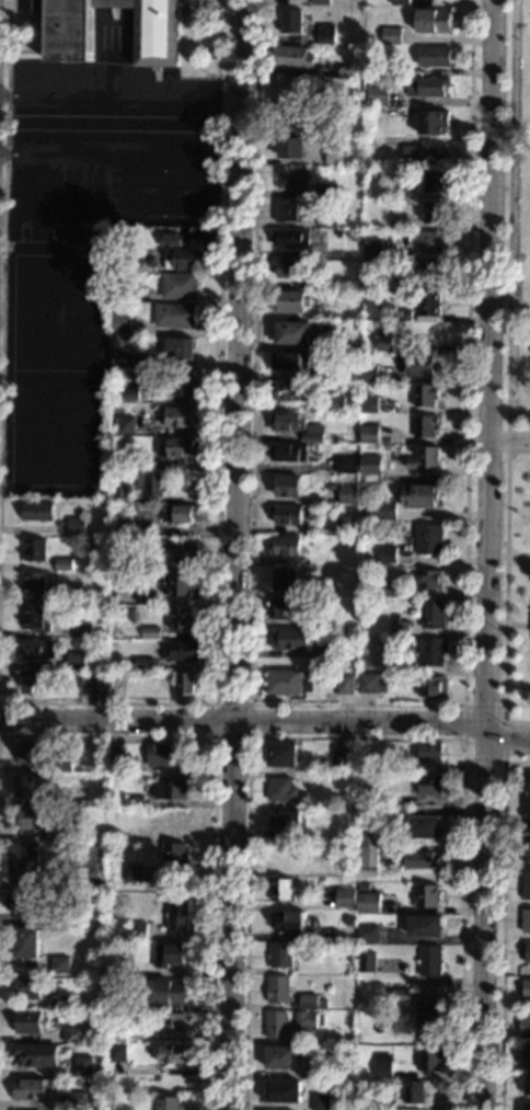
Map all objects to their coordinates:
building: (320, 2)
building: (401, 2)
building: (290, 21)
building: (433, 21)
building: (325, 34)
building: (157, 36)
building: (391, 36)
building: (435, 56)
building: (293, 57)
building: (388, 69)
building: (426, 85)
building: (378, 95)
building: (292, 118)
building: (433, 123)
building: (323, 127)
building: (20, 141)
building: (291, 148)
building: (411, 152)
building: (336, 157)
building: (293, 179)
building: (436, 181)
building: (327, 188)
building: (395, 190)
park: (518, 199)
building: (287, 210)
building: (435, 211)
building: (327, 221)
building: (392, 225)
road: (2, 229)
park: (50, 231)
building: (325, 231)
building: (120, 236)
building: (291, 237)
building: (170, 240)
building: (434, 241)
building: (372, 249)
building: (180, 259)
building: (151, 263)
building: (288, 267)
building: (407, 267)
building: (431, 273)
building: (319, 284)
building: (178, 285)
building: (127, 295)
building: (289, 301)
building: (429, 302)
building: (337, 311)
building: (174, 314)
building: (404, 316)
building: (122, 322)
building: (292, 332)
building: (384, 340)
building: (336, 342)
building: (180, 348)
building: (122, 357)
building: (288, 361)
building: (419, 364)
building: (334, 371)
road: (508, 373)
building: (369, 374)
building: (183, 382)
building: (291, 391)
building: (129, 394)
building: (426, 394)
building: (335, 403)
building: (369, 403)
building: (181, 416)
building: (289, 422)
building: (124, 424)
building: (425, 424)
building: (313, 433)
building: (369, 433)
road: (508, 436)
building: (353, 438)
building: (177, 448)
building: (288, 453)
road: (518, 453)
building: (425, 458)
road: (218, 460)
building: (124, 464)
building: (347, 465)
building: (370, 468)
building: (149, 483)
building: (287, 485)
building: (119, 494)
building: (347, 494)
building: (420, 496)
building: (387, 510)
building: (37, 511)
building: (180, 513)
building: (288, 515)
building: (346, 525)
building: (76, 526)
building: (143, 528)
building: (429, 539)
building: (410, 540)
building: (286, 546)
building: (182, 548)
building: (34, 549)
road: (232, 554)
building: (388, 554)
road: (485, 554)
road: (518, 557)
building: (143, 562)
building: (62, 564)
building: (284, 579)
building: (429, 579)
building: (33, 583)
building: (178, 584)
building: (321, 587)
building: (391, 590)
building: (71, 594)
building: (147, 597)
building: (283, 608)
building: (434, 614)
building: (181, 618)
building: (35, 619)
building: (306, 622)
road: (520, 626)
building: (401, 627)
building: (84, 630)
building: (151, 632)
building: (289, 639)
building: (330, 649)
building: (37, 650)
building: (431, 650)
building: (183, 651)
building: (76, 660)
building: (145, 663)
building: (399, 663)
building: (113, 673)
building: (34, 679)
building: (87, 679)
building: (285, 682)
building: (372, 683)
building: (186, 684)
building: (345, 684)
building: (433, 687)
road: (357, 706)
road: (469, 707)
road: (241, 723)
road: (357, 737)
road: (506, 737)
building: (430, 752)
building: (32, 753)
building: (283, 754)
building: (162, 755)
building: (341, 756)
building: (112, 758)
road: (504, 762)
building: (61, 765)
building: (100, 767)
building: (406, 769)
building: (528, 781)
building: (429, 785)
building: (35, 787)
building: (173, 788)
building: (281, 789)
building: (77, 796)
building: (373, 798)
building: (136, 800)
building: (405, 811)
building: (527, 812)
road: (215, 815)
building: (34, 817)
building: (285, 819)
building: (175, 822)
building: (423, 826)
building: (80, 831)
building: (130, 833)
building: (370, 847)
building: (527, 849)
building: (281, 852)
building: (174, 855)
building: (418, 859)
building: (25, 862)
building: (346, 862)
building: (132, 872)
building: (526, 886)
building: (364, 888)
building: (280, 889)
building: (426, 895)
building: (345, 897)
building: (21, 901)
building: (368, 903)
building: (177, 912)
building: (64, 916)
building: (526, 920)
building: (288, 922)
building: (349, 922)
road: (503, 923)
building: (425, 925)
building: (137, 931)
building: (368, 934)
building: (26, 942)
building: (528, 952)
building: (170, 955)
building: (280, 955)
building: (430, 960)
building: (366, 962)
building: (59, 964)
building: (27, 988)
building: (329, 988)
building: (278, 989)
building: (527, 989)
building: (166, 991)
building: (400, 994)
building: (60, 1002)
building: (311, 1002)
building: (123, 1003)
building: (426, 1014)
building: (306, 1020)
building: (28, 1021)
building: (171, 1022)
building: (525, 1022)
building: (278, 1025)
building: (73, 1034)
building: (116, 1037)
building: (413, 1038)
building: (349, 1039)
building: (336, 1040)
building: (116, 1052)
building: (36, 1054)
building: (174, 1054)
building: (527, 1055)
building: (280, 1057)
building: (430, 1058)
building: (382, 1065)
building: (82, 1066)
building: (321, 1068)
building: (359, 1082)
building: (526, 1084)
building: (30, 1090)
building: (283, 1091)
building: (413, 1091)
building: (77, 1101)
building: (321, 1101)
building: (385, 1102)
building: (169, 1103)
building: (527, 1107)

